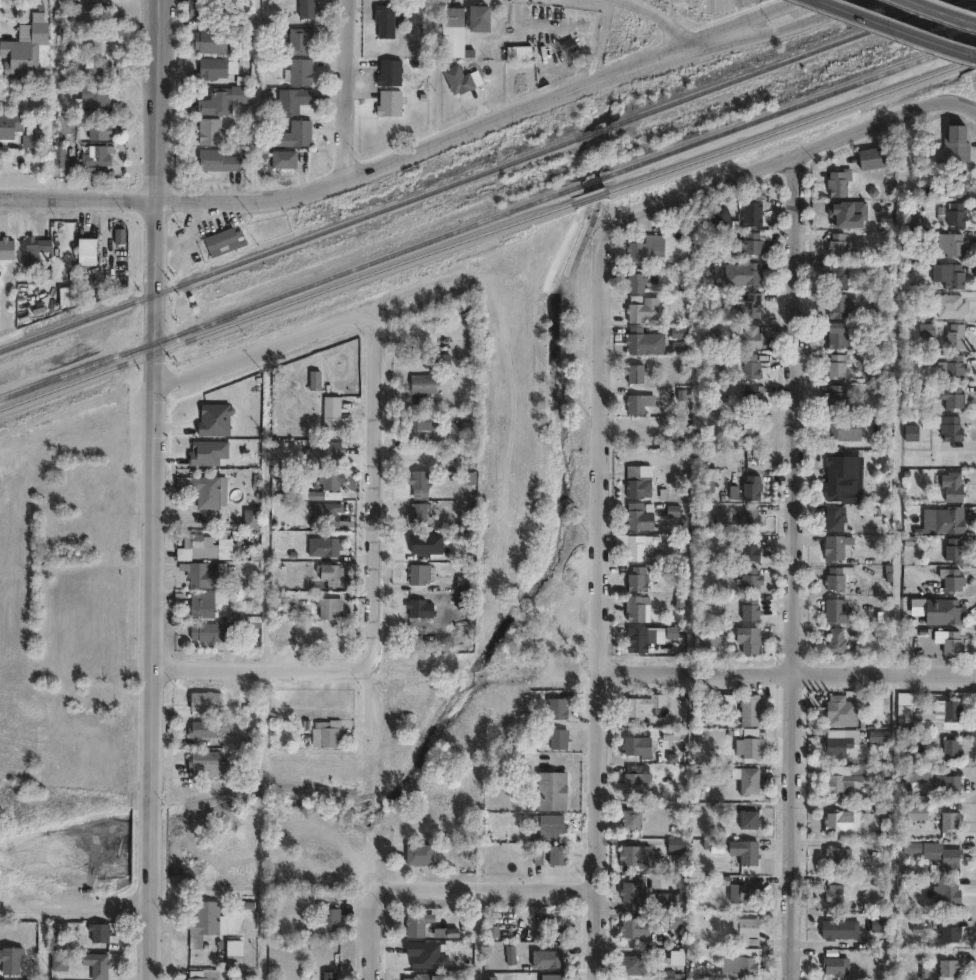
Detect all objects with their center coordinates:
building: (202, 7)
building: (306, 8)
road: (944, 11)
building: (451, 16)
building: (477, 18)
road: (757, 18)
building: (382, 19)
road: (670, 20)
road: (786, 26)
road: (905, 26)
road: (535, 28)
building: (297, 41)
building: (210, 42)
building: (26, 44)
building: (568, 45)
building: (518, 51)
building: (98, 62)
railway: (781, 62)
building: (212, 69)
building: (298, 70)
building: (389, 72)
building: (456, 79)
road: (348, 88)
building: (96, 93)
building: (222, 98)
building: (291, 99)
road: (157, 100)
building: (388, 102)
railway: (788, 107)
building: (10, 124)
building: (64, 125)
railway: (790, 125)
building: (96, 126)
railway: (601, 129)
building: (208, 130)
building: (297, 133)
building: (37, 137)
building: (953, 144)
road: (792, 154)
building: (871, 155)
building: (59, 156)
building: (92, 156)
building: (282, 158)
building: (217, 159)
road: (365, 170)
building: (838, 179)
railway: (591, 181)
building: (956, 182)
railway: (589, 198)
building: (716, 209)
building: (751, 210)
building: (956, 211)
building: (222, 236)
building: (752, 238)
building: (837, 241)
building: (951, 241)
railway: (294, 242)
building: (646, 244)
building: (6, 247)
building: (33, 247)
building: (87, 249)
building: (750, 269)
building: (838, 272)
building: (948, 272)
building: (636, 278)
railway: (291, 291)
road: (154, 296)
building: (752, 301)
building: (840, 303)
building: (951, 303)
building: (642, 304)
railway: (286, 306)
building: (926, 327)
building: (839, 334)
building: (954, 335)
building: (746, 336)
building: (644, 341)
road: (264, 346)
building: (440, 360)
building: (835, 364)
building: (749, 365)
building: (955, 366)
building: (633, 371)
building: (313, 377)
building: (422, 382)
building: (750, 394)
building: (834, 395)
building: (951, 395)
building: (637, 401)
road: (75, 415)
building: (330, 415)
building: (418, 415)
building: (421, 422)
building: (465, 422)
building: (943, 424)
building: (750, 425)
building: (841, 426)
building: (910, 431)
building: (467, 472)
building: (708, 472)
building: (415, 473)
building: (843, 474)
building: (329, 477)
building: (637, 484)
building: (751, 485)
building: (951, 485)
building: (202, 487)
road: (377, 492)
building: (414, 508)
building: (323, 511)
building: (637, 515)
building: (249, 516)
building: (749, 517)
building: (832, 518)
building: (947, 518)
building: (202, 543)
building: (636, 543)
building: (329, 544)
building: (746, 546)
building: (835, 546)
building: (952, 549)
road: (791, 566)
building: (417, 567)
building: (328, 570)
building: (200, 571)
building: (297, 571)
building: (635, 576)
building: (837, 576)
building: (749, 577)
building: (951, 580)
building: (462, 586)
building: (239, 596)
building: (204, 600)
building: (418, 602)
road: (601, 604)
building: (916, 605)
building: (329, 606)
building: (635, 606)
building: (749, 607)
building: (836, 610)
building: (945, 612)
building: (211, 629)
building: (747, 637)
building: (636, 638)
building: (834, 640)
building: (708, 642)
building: (951, 642)
road: (262, 666)
road: (788, 672)
road: (150, 686)
building: (203, 700)
building: (727, 700)
building: (903, 700)
building: (641, 704)
building: (873, 704)
building: (555, 708)
building: (750, 709)
building: (945, 710)
building: (839, 711)
building: (205, 726)
building: (329, 731)
building: (669, 733)
building: (556, 738)
building: (835, 743)
building: (631, 746)
building: (750, 747)
building: (950, 749)
building: (204, 762)
building: (867, 774)
building: (916, 774)
building: (745, 779)
building: (635, 781)
building: (945, 783)
building: (834, 784)
building: (551, 790)
building: (914, 813)
building: (630, 818)
building: (747, 819)
building: (948, 821)
building: (841, 822)
building: (551, 830)
building: (676, 844)
building: (742, 848)
building: (923, 850)
building: (419, 852)
building: (555, 855)
building: (640, 856)
building: (838, 856)
building: (950, 859)
building: (913, 868)
building: (737, 889)
road: (486, 890)
building: (632, 890)
building: (833, 890)
building: (945, 894)
building: (670, 900)
road: (74, 912)
building: (327, 917)
building: (676, 920)
building: (203, 922)
building: (415, 922)
building: (97, 928)
building: (634, 929)
building: (837, 929)
building: (444, 930)
building: (744, 931)
building: (948, 931)
road: (473, 935)
road: (372, 936)
building: (232, 946)
building: (14, 954)
building: (511, 954)
building: (415, 957)
building: (549, 957)
building: (674, 957)
building: (97, 960)
building: (737, 962)
building: (629, 964)
building: (833, 966)
building: (947, 968)
building: (204, 974)
building: (327, 975)
building: (427, 975)
building: (671, 975)
building: (551, 977)

